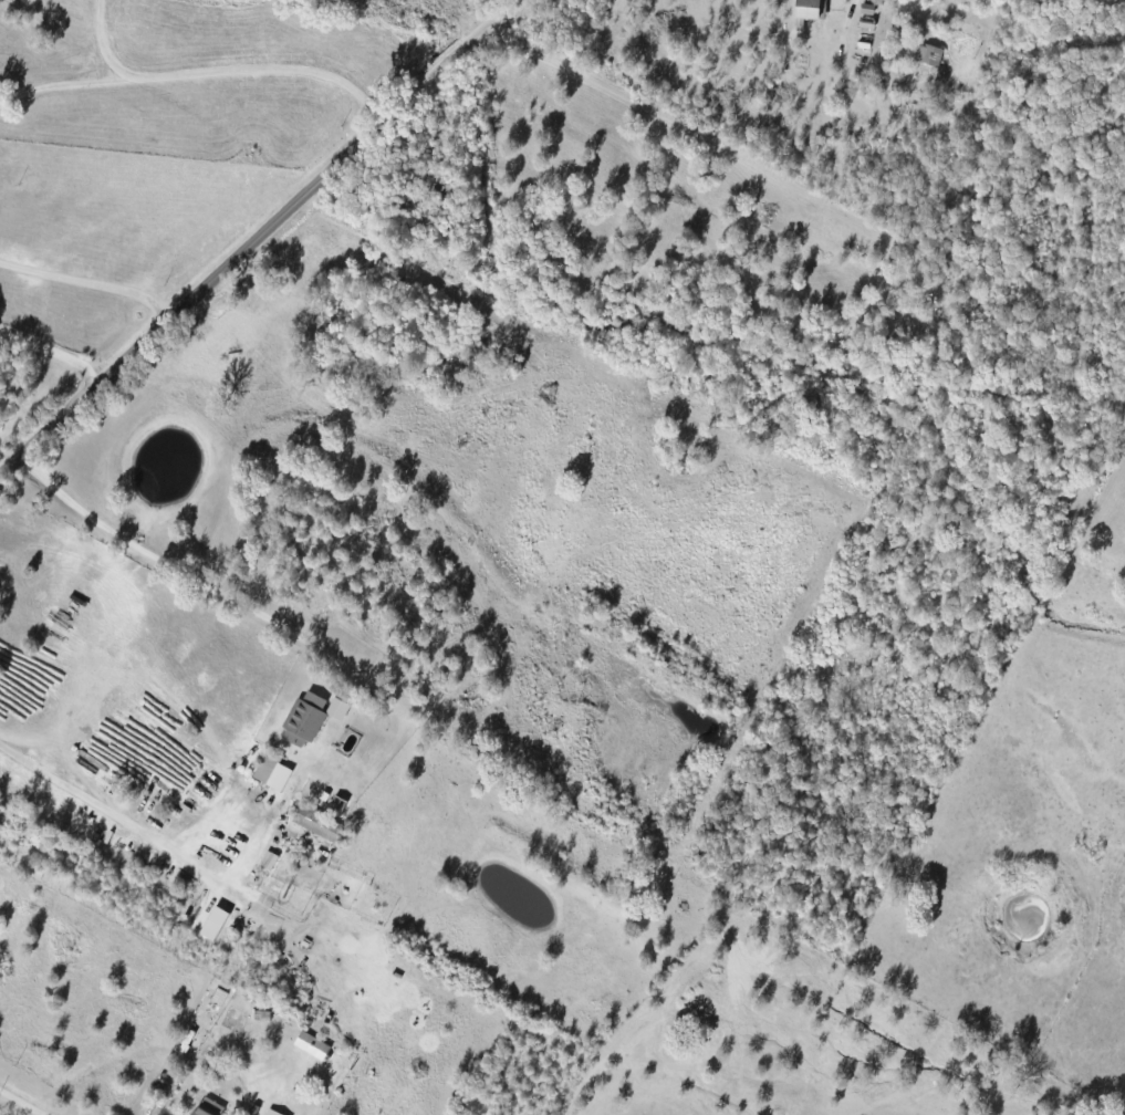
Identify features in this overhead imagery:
road: (848, 3)
building: (810, 9)
road: (102, 44)
building: (929, 54)
road: (198, 71)
road: (262, 240)
road: (93, 282)
road: (53, 363)
road: (194, 577)
building: (337, 708)
building: (304, 718)
road: (88, 810)
building: (317, 824)
building: (269, 859)
building: (312, 1044)
building: (207, 1107)
road: (10, 1108)
building: (272, 1112)

